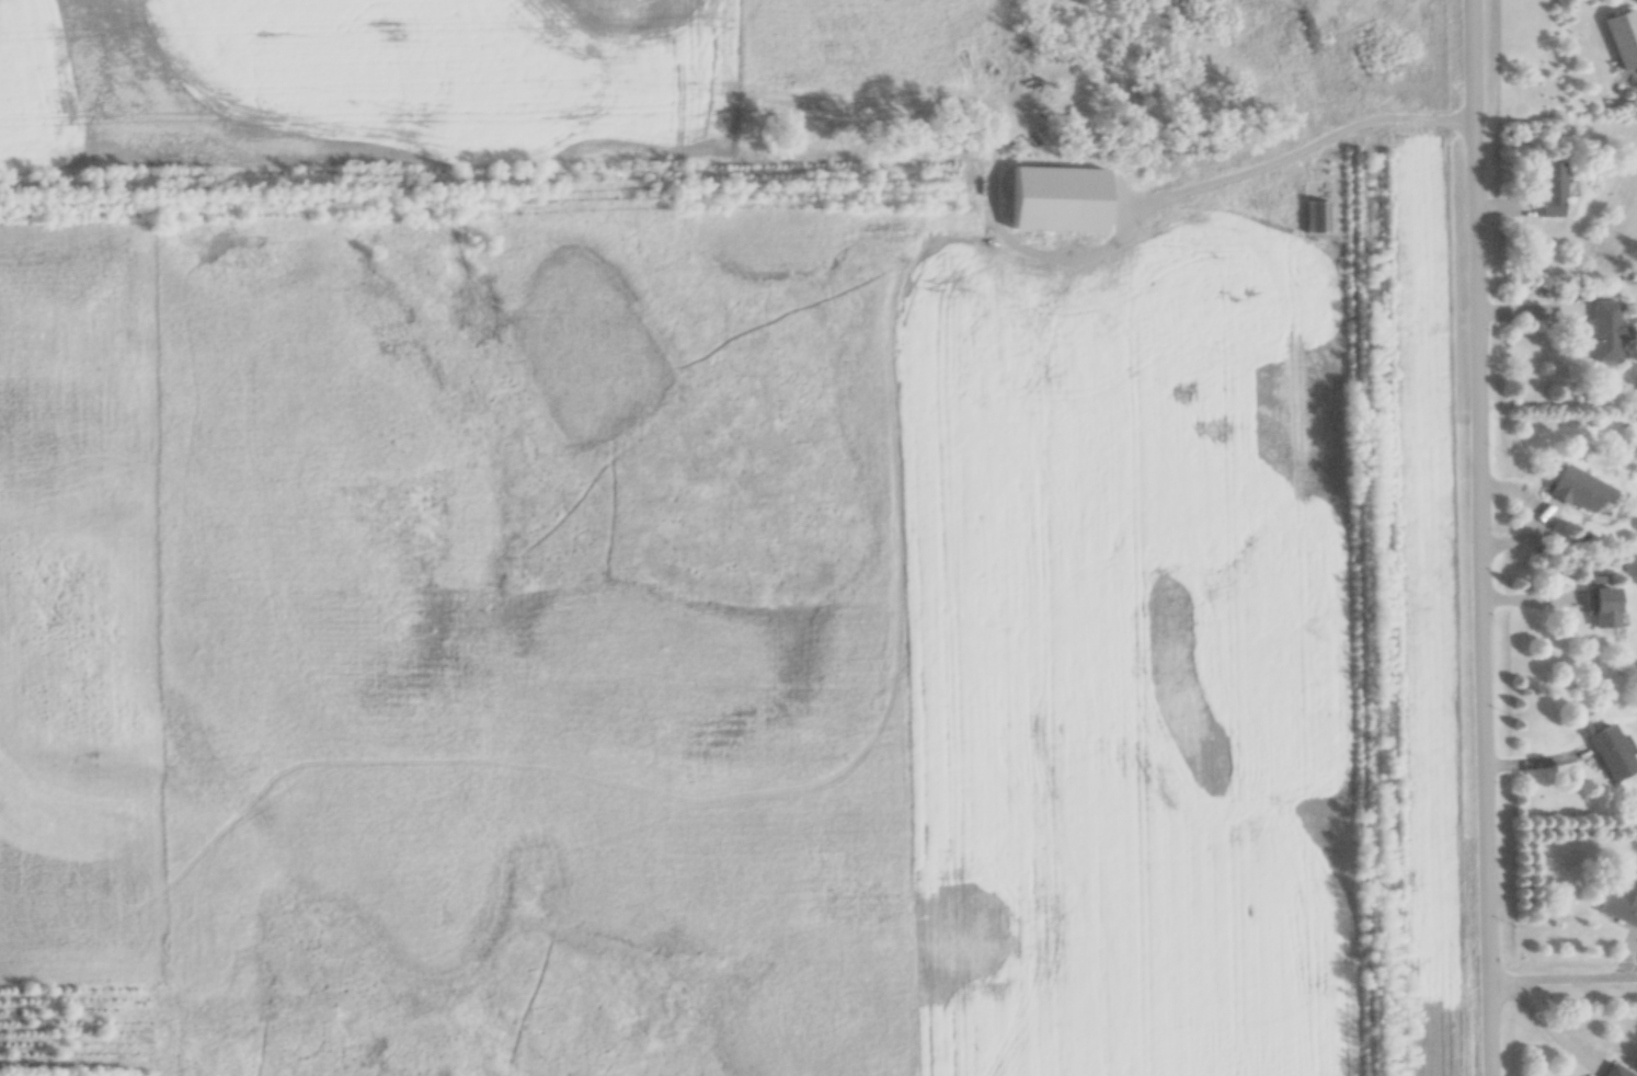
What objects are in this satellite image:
building: (1624, 38)
road: (1297, 153)
building: (1550, 190)
building: (1606, 331)
building: (1579, 489)
road: (1479, 538)
building: (1603, 607)
building: (1609, 751)
building: (1621, 903)
road: (1561, 976)
building: (1616, 1071)

